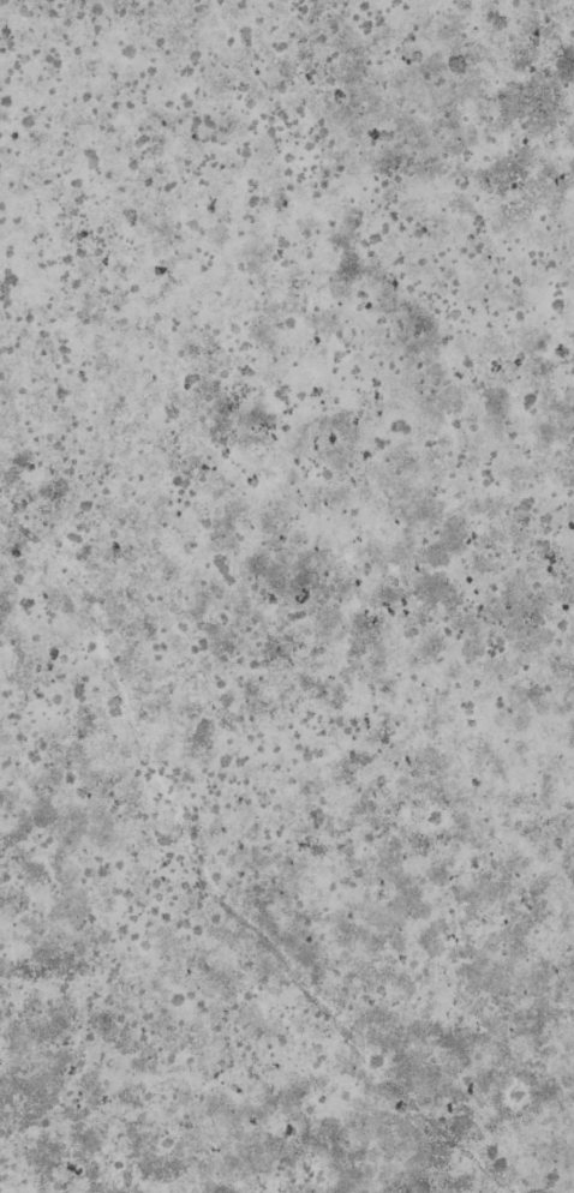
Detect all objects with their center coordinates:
road: (190, 849)

